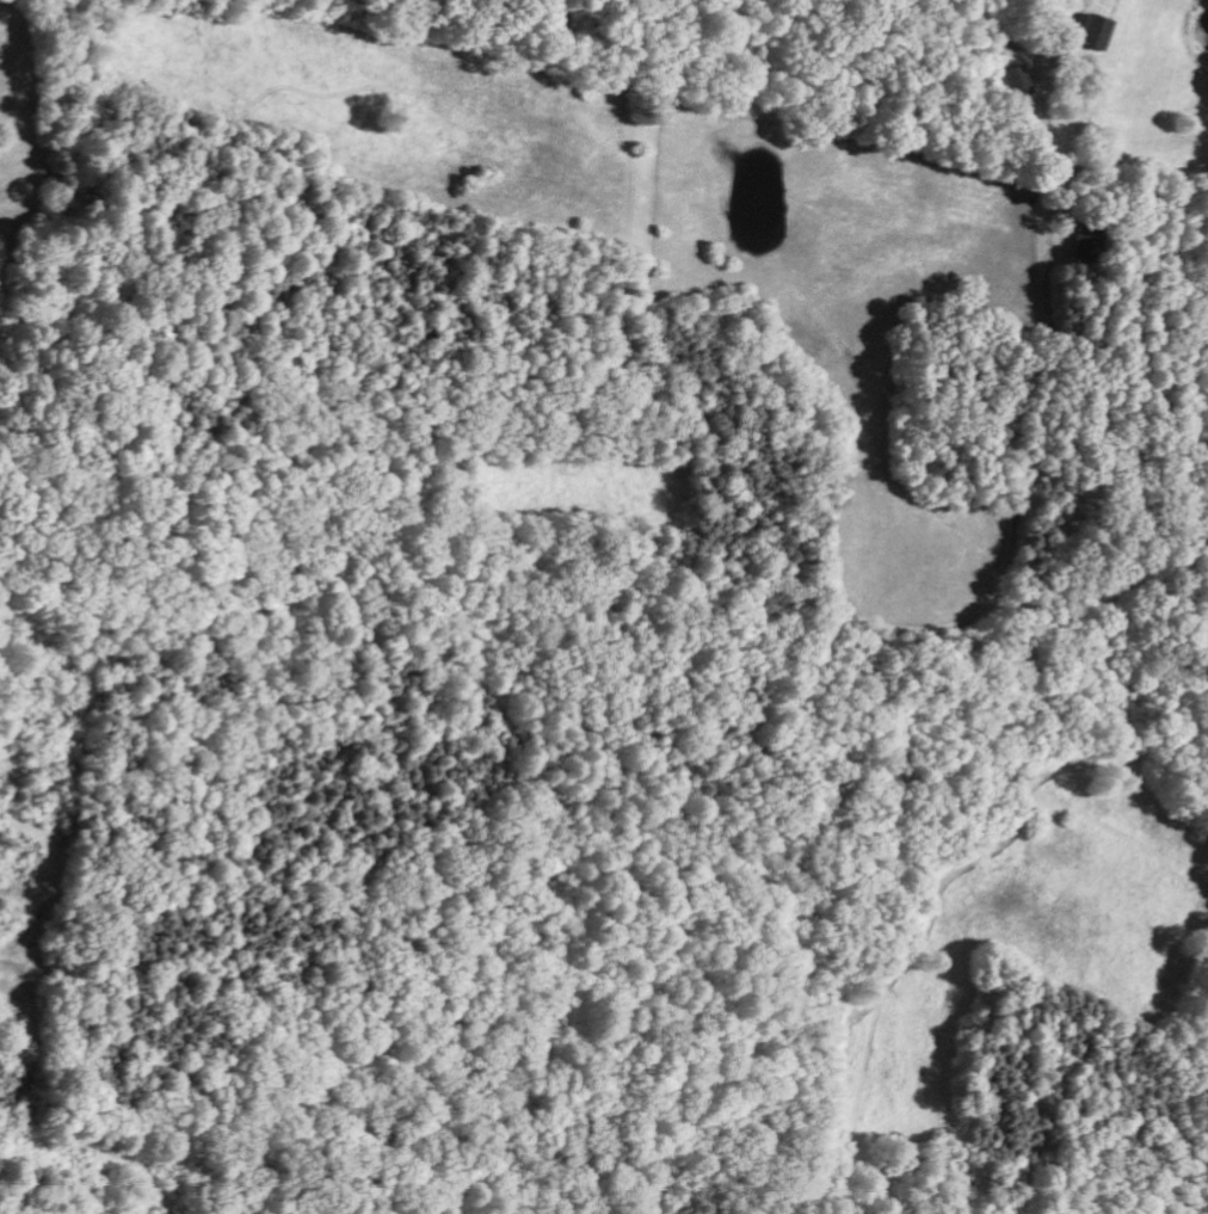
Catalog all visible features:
building: (1093, 31)
building: (1021, 80)
building: (1089, 242)

